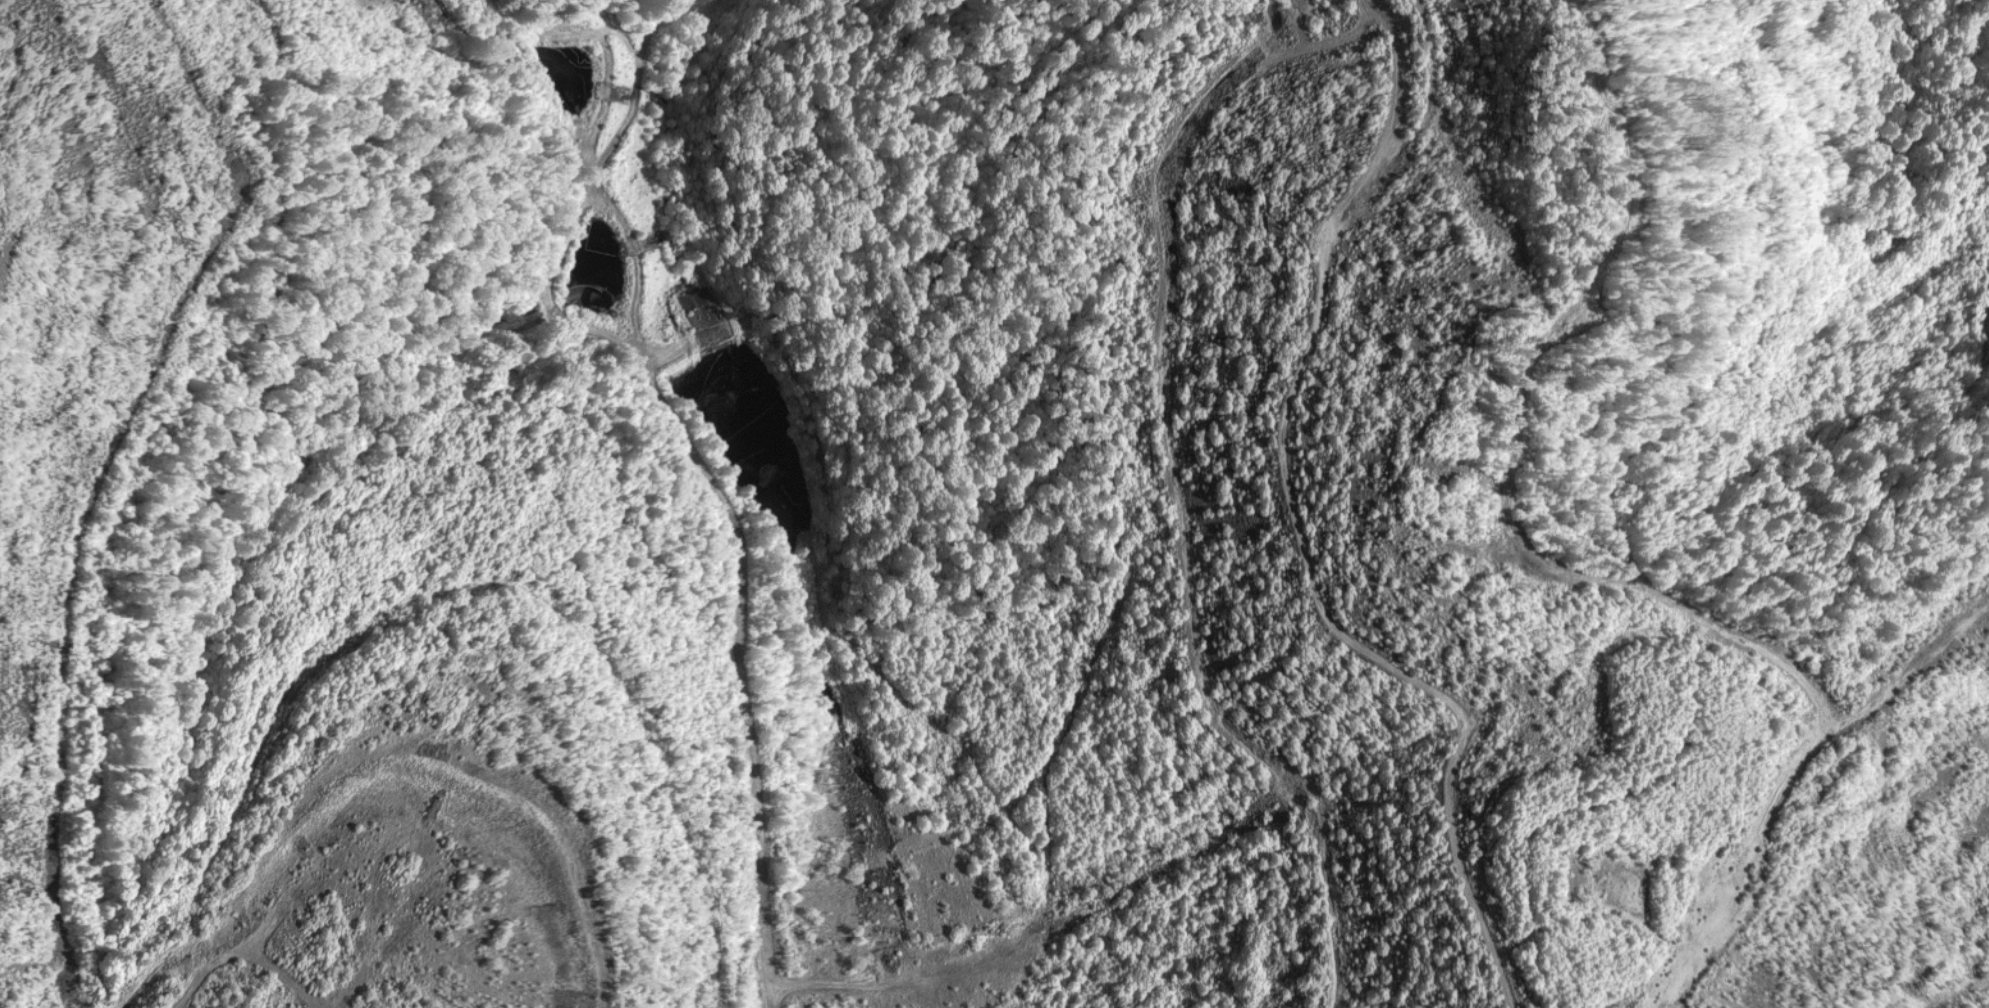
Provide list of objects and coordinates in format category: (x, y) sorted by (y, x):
quarry: (994, 504)

